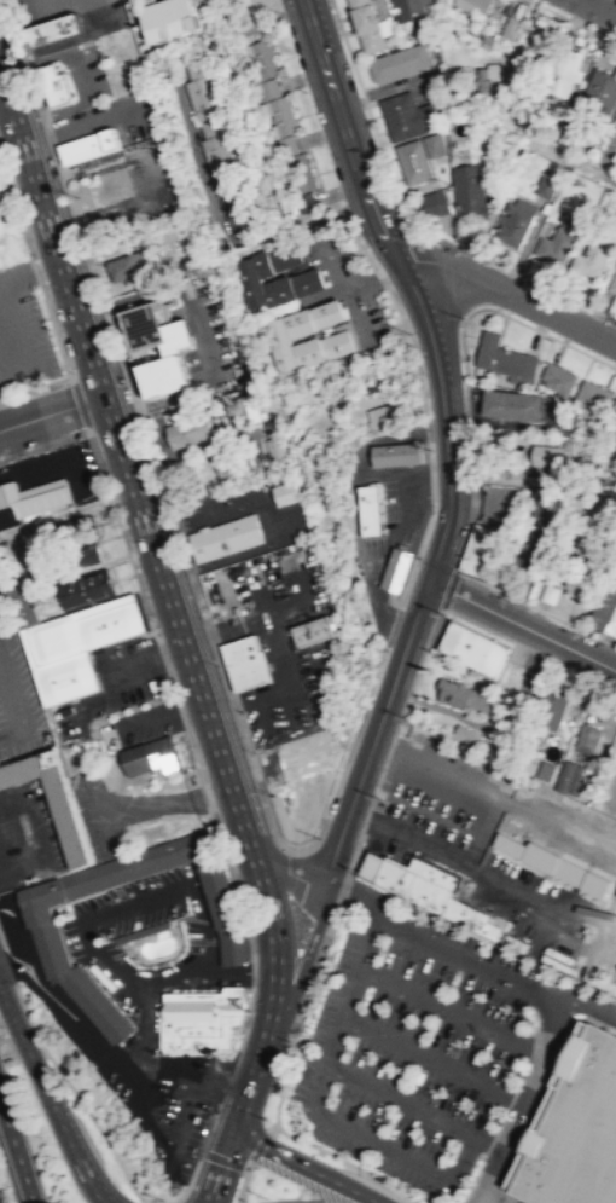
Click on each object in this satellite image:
road: (16, 0)
road: (7, 2)
building: (480, 4)
road: (277, 5)
building: (411, 7)
road: (597, 8)
road: (92, 15)
parking lot: (106, 18)
building: (179, 18)
building: (370, 21)
road: (573, 21)
building: (511, 27)
building: (56, 30)
road: (48, 46)
building: (263, 59)
building: (399, 60)
building: (563, 70)
street lamp: (105, 71)
road: (80, 75)
building: (486, 80)
building: (53, 85)
building: (602, 86)
building: (202, 92)
road: (4, 97)
road: (367, 114)
building: (407, 115)
parking lot: (111, 118)
building: (280, 118)
building: (615, 120)
road: (87, 121)
building: (569, 129)
building: (214, 144)
building: (434, 144)
building: (91, 146)
building: (414, 161)
road: (580, 163)
building: (0, 174)
building: (301, 175)
building: (546, 185)
building: (469, 191)
building: (435, 202)
building: (236, 207)
building: (4, 222)
building: (516, 225)
road: (23, 230)
building: (556, 245)
building: (594, 254)
street lamp: (35, 255)
building: (127, 265)
road: (34, 267)
road: (513, 271)
road: (436, 272)
road: (29, 273)
building: (274, 278)
building: (612, 283)
road: (509, 295)
street lamp: (464, 316)
parking lot: (24, 331)
building: (307, 337)
building: (174, 346)
road: (10, 354)
building: (505, 357)
road: (463, 359)
street lamp: (74, 371)
building: (367, 371)
building: (557, 380)
road: (35, 389)
building: (592, 395)
road: (79, 404)
building: (513, 404)
building: (246, 407)
road: (51, 412)
building: (614, 412)
building: (378, 415)
building: (188, 430)
road: (446, 438)
road: (43, 444)
building: (275, 450)
building: (395, 453)
building: (553, 457)
building: (234, 464)
street lamp: (103, 490)
building: (286, 492)
building: (34, 496)
building: (367, 509)
building: (540, 520)
building: (75, 528)
building: (225, 537)
building: (481, 549)
road: (153, 553)
building: (83, 555)
street lamp: (419, 556)
building: (511, 560)
building: (396, 568)
building: (581, 578)
building: (86, 589)
road: (448, 589)
street lamp: (511, 598)
road: (516, 598)
road: (144, 605)
building: (606, 606)
building: (112, 620)
street lamp: (152, 620)
road: (522, 624)
road: (484, 626)
building: (316, 629)
road: (597, 637)
building: (476, 647)
road: (544, 655)
building: (62, 658)
building: (249, 661)
road: (587, 676)
building: (463, 695)
road: (403, 707)
building: (553, 709)
building: (466, 735)
building: (587, 738)
street lamp: (193, 745)
road: (249, 752)
building: (310, 752)
building: (152, 756)
building: (548, 769)
building: (573, 776)
road: (207, 797)
building: (56, 798)
road: (362, 817)
road: (365, 817)
parking lot: (30, 833)
street lamp: (319, 837)
road: (34, 839)
road: (335, 845)
road: (354, 851)
road: (267, 852)
street lamp: (232, 863)
building: (557, 863)
road: (231, 869)
road: (306, 873)
road: (482, 873)
parking lot: (484, 881)
road: (342, 887)
building: (430, 887)
building: (47, 933)
parking lot: (12, 936)
road: (2, 941)
road: (252, 956)
road: (303, 961)
road: (10, 965)
road: (310, 984)
road: (527, 988)
road: (583, 1000)
road: (452, 1011)
building: (203, 1018)
road: (245, 1022)
parking lot: (413, 1045)
road: (258, 1058)
road: (434, 1059)
road: (222, 1085)
road: (279, 1094)
road: (76, 1095)
road: (48, 1099)
road: (309, 1104)
road: (413, 1105)
road: (243, 1106)
road: (272, 1127)
building: (579, 1127)
road: (258, 1145)
road: (14, 1152)
road: (222, 1159)
road: (344, 1159)
road: (197, 1161)
road: (223, 1167)
road: (303, 1167)
road: (243, 1181)
road: (205, 1196)
road: (105, 1197)
road: (478, 1198)
road: (483, 1198)
road: (495, 1198)

